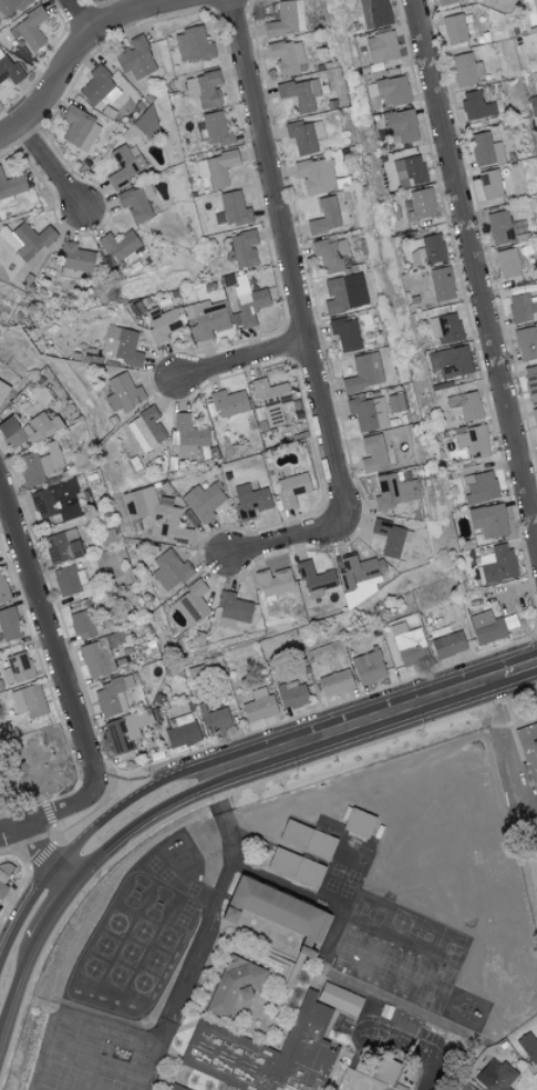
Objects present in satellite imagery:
building: (447, 1)
building: (11, 6)
building: (530, 11)
building: (373, 12)
road: (83, 16)
building: (287, 18)
building: (31, 28)
building: (454, 28)
building: (192, 43)
building: (380, 47)
road: (76, 51)
building: (287, 56)
building: (135, 58)
building: (8, 69)
building: (465, 69)
building: (96, 84)
building: (204, 88)
building: (388, 90)
building: (300, 92)
building: (533, 103)
building: (475, 104)
building: (400, 124)
building: (80, 128)
building: (214, 128)
building: (306, 134)
building: (485, 148)
building: (124, 164)
building: (216, 167)
road: (52, 168)
building: (409, 171)
building: (489, 183)
building: (11, 187)
building: (134, 203)
building: (420, 204)
building: (231, 208)
building: (324, 216)
building: (499, 227)
building: (25, 238)
building: (121, 246)
building: (242, 247)
building: (432, 248)
building: (330, 253)
building: (75, 257)
road: (289, 257)
building: (507, 263)
road: (475, 268)
building: (440, 282)
building: (340, 294)
building: (248, 300)
building: (521, 306)
building: (207, 319)
building: (162, 323)
building: (445, 327)
building: (345, 333)
building: (526, 342)
building: (121, 345)
building: (452, 361)
road: (244, 363)
building: (363, 372)
building: (530, 382)
building: (2, 390)
building: (123, 392)
building: (272, 401)
building: (228, 402)
building: (464, 404)
building: (368, 412)
building: (535, 419)
building: (28, 429)
building: (146, 429)
building: (188, 435)
building: (473, 441)
building: (373, 453)
building: (39, 463)
building: (479, 487)
building: (290, 489)
building: (394, 491)
building: (56, 500)
building: (249, 500)
building: (203, 501)
building: (156, 514)
building: (488, 521)
building: (391, 537)
road: (290, 543)
building: (61, 546)
building: (496, 564)
building: (169, 569)
building: (360, 578)
building: (313, 579)
building: (272, 583)
building: (3, 589)
building: (192, 604)
building: (234, 611)
building: (81, 623)
building: (9, 624)
building: (485, 626)
building: (440, 630)
road: (49, 644)
building: (404, 644)
building: (447, 644)
building: (95, 658)
building: (17, 667)
building: (368, 667)
building: (335, 681)
building: (291, 695)
building: (111, 696)
building: (28, 700)
building: (258, 705)
building: (213, 717)
building: (179, 726)
road: (319, 736)
building: (120, 738)
building: (529, 751)
park: (518, 779)
road: (131, 785)
road: (49, 813)
road: (223, 815)
building: (357, 822)
park: (534, 825)
road: (40, 854)
building: (499, 857)
building: (317, 861)
building: (3, 876)
road: (41, 908)
building: (277, 911)
building: (233, 985)
building: (404, 1020)
building: (216, 1036)
building: (109, 1045)
building: (529, 1046)
road: (412, 1047)
building: (87, 1076)
building: (496, 1076)
building: (380, 1077)
building: (465, 1087)
building: (178, 1088)

